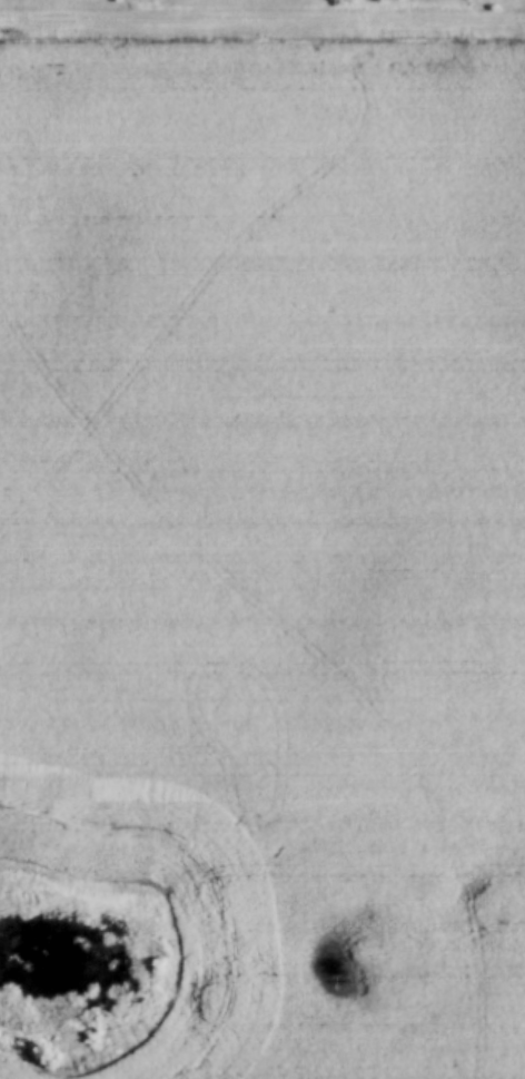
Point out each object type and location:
road: (262, 14)

